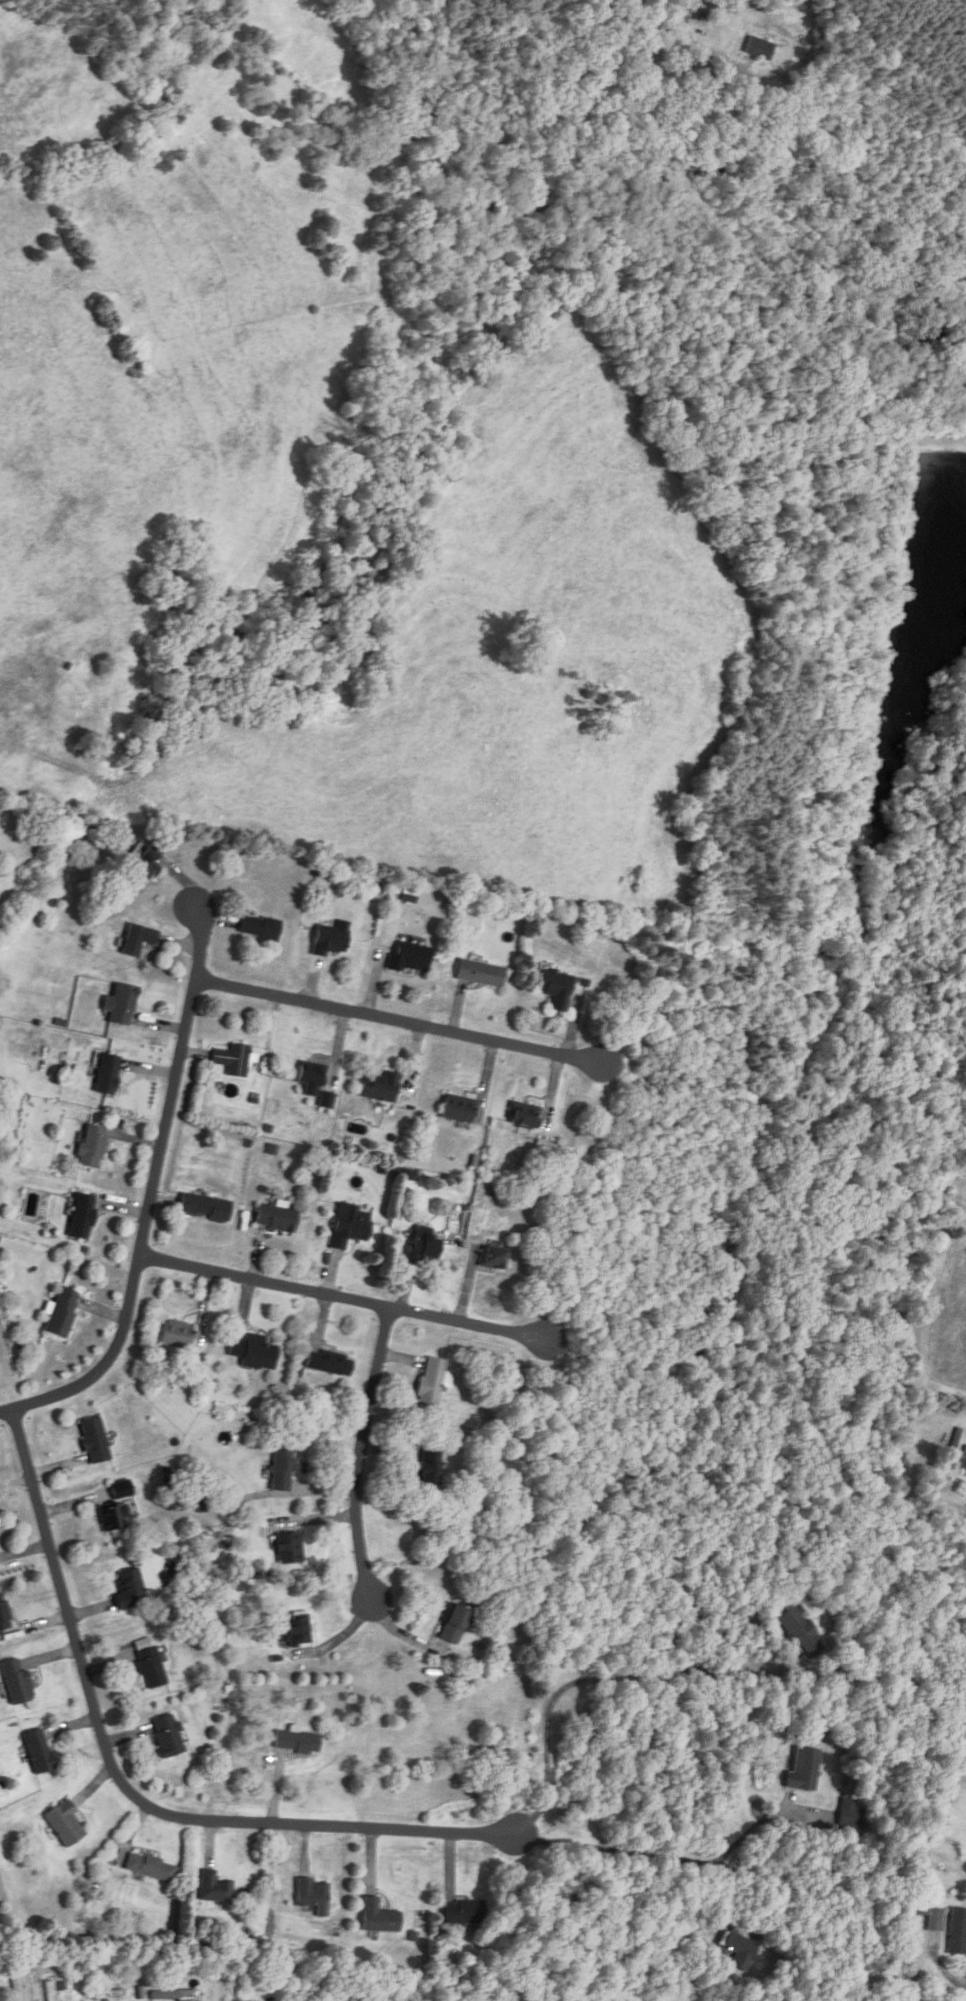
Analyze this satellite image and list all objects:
building: (143, 864)
building: (258, 928)
building: (138, 940)
building: (327, 941)
building: (410, 957)
building: (479, 974)
building: (554, 988)
building: (120, 1005)
road: (420, 1024)
building: (232, 1061)
building: (106, 1075)
building: (314, 1083)
building: (379, 1088)
building: (457, 1109)
building: (523, 1116)
building: (91, 1147)
road: (156, 1182)
building: (204, 1207)
building: (81, 1217)
building: (275, 1219)
building: (349, 1227)
building: (422, 1243)
building: (491, 1259)
road: (363, 1301)
building: (62, 1313)
building: (176, 1334)
building: (252, 1352)
building: (325, 1362)
building: (430, 1381)
building: (94, 1440)
building: (427, 1465)
building: (281, 1467)
road: (359, 1473)
building: (201, 1504)
building: (114, 1506)
building: (288, 1547)
building: (129, 1589)
building: (3, 1615)
building: (456, 1623)
building: (296, 1629)
building: (800, 1631)
building: (148, 1663)
road: (589, 1677)
building: (15, 1681)
building: (166, 1735)
building: (295, 1741)
building: (37, 1750)
building: (803, 1769)
road: (126, 1792)
building: (852, 1815)
road: (764, 1819)
building: (64, 1824)
road: (662, 1855)
building: (150, 1866)
building: (214, 1888)
building: (311, 1892)
building: (462, 1912)
building: (378, 1916)
building: (935, 1920)
building: (957, 1931)
building: (739, 1949)
road: (945, 1971)
building: (17, 1987)
building: (90, 1993)
building: (171, 1995)

